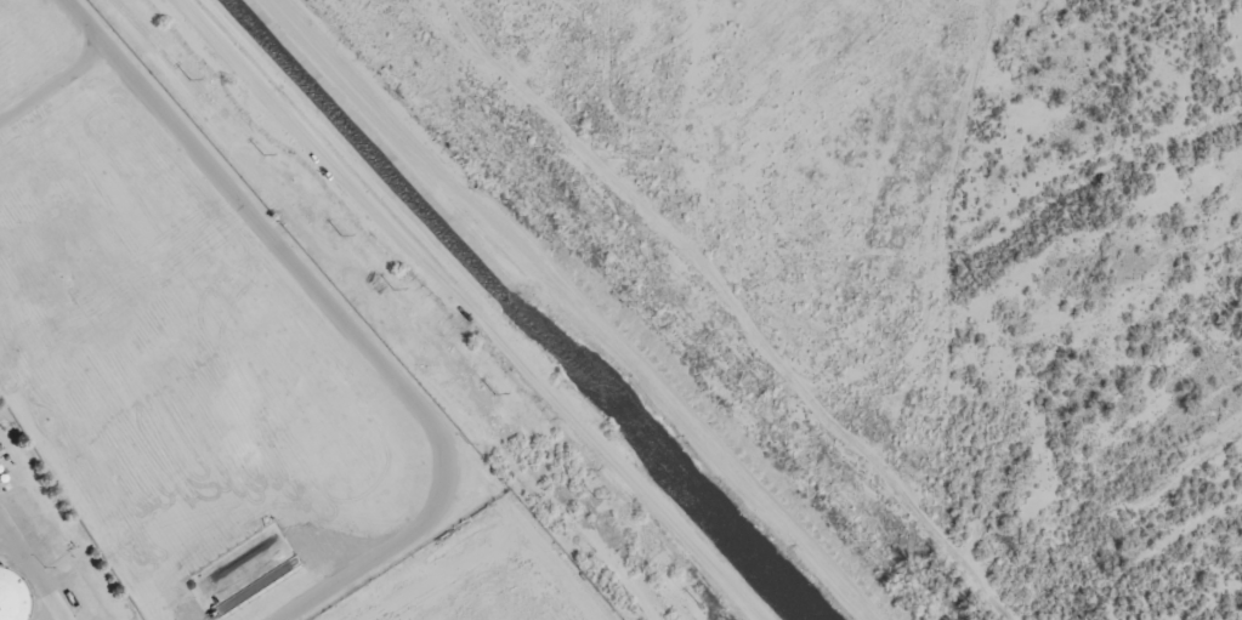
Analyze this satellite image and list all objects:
road: (53, 78)
road: (341, 315)
wastewater plant: (46, 544)
road: (34, 571)
building: (11, 595)

